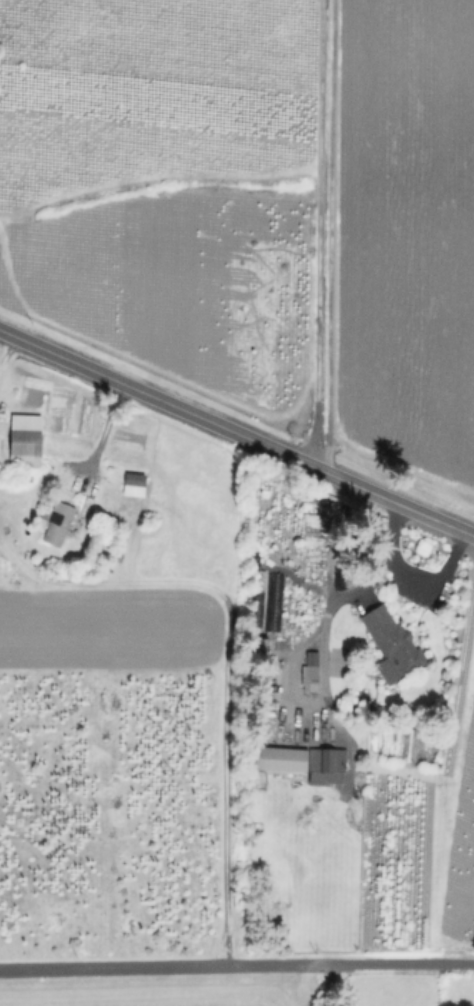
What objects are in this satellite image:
crop: (403, 229)
road: (236, 432)
road: (101, 435)
building: (26, 439)
building: (56, 519)
road: (420, 583)
road: (313, 641)
building: (393, 645)
building: (312, 674)
building: (282, 758)
building: (325, 759)
road: (236, 969)
road: (327, 987)
crop: (158, 997)

